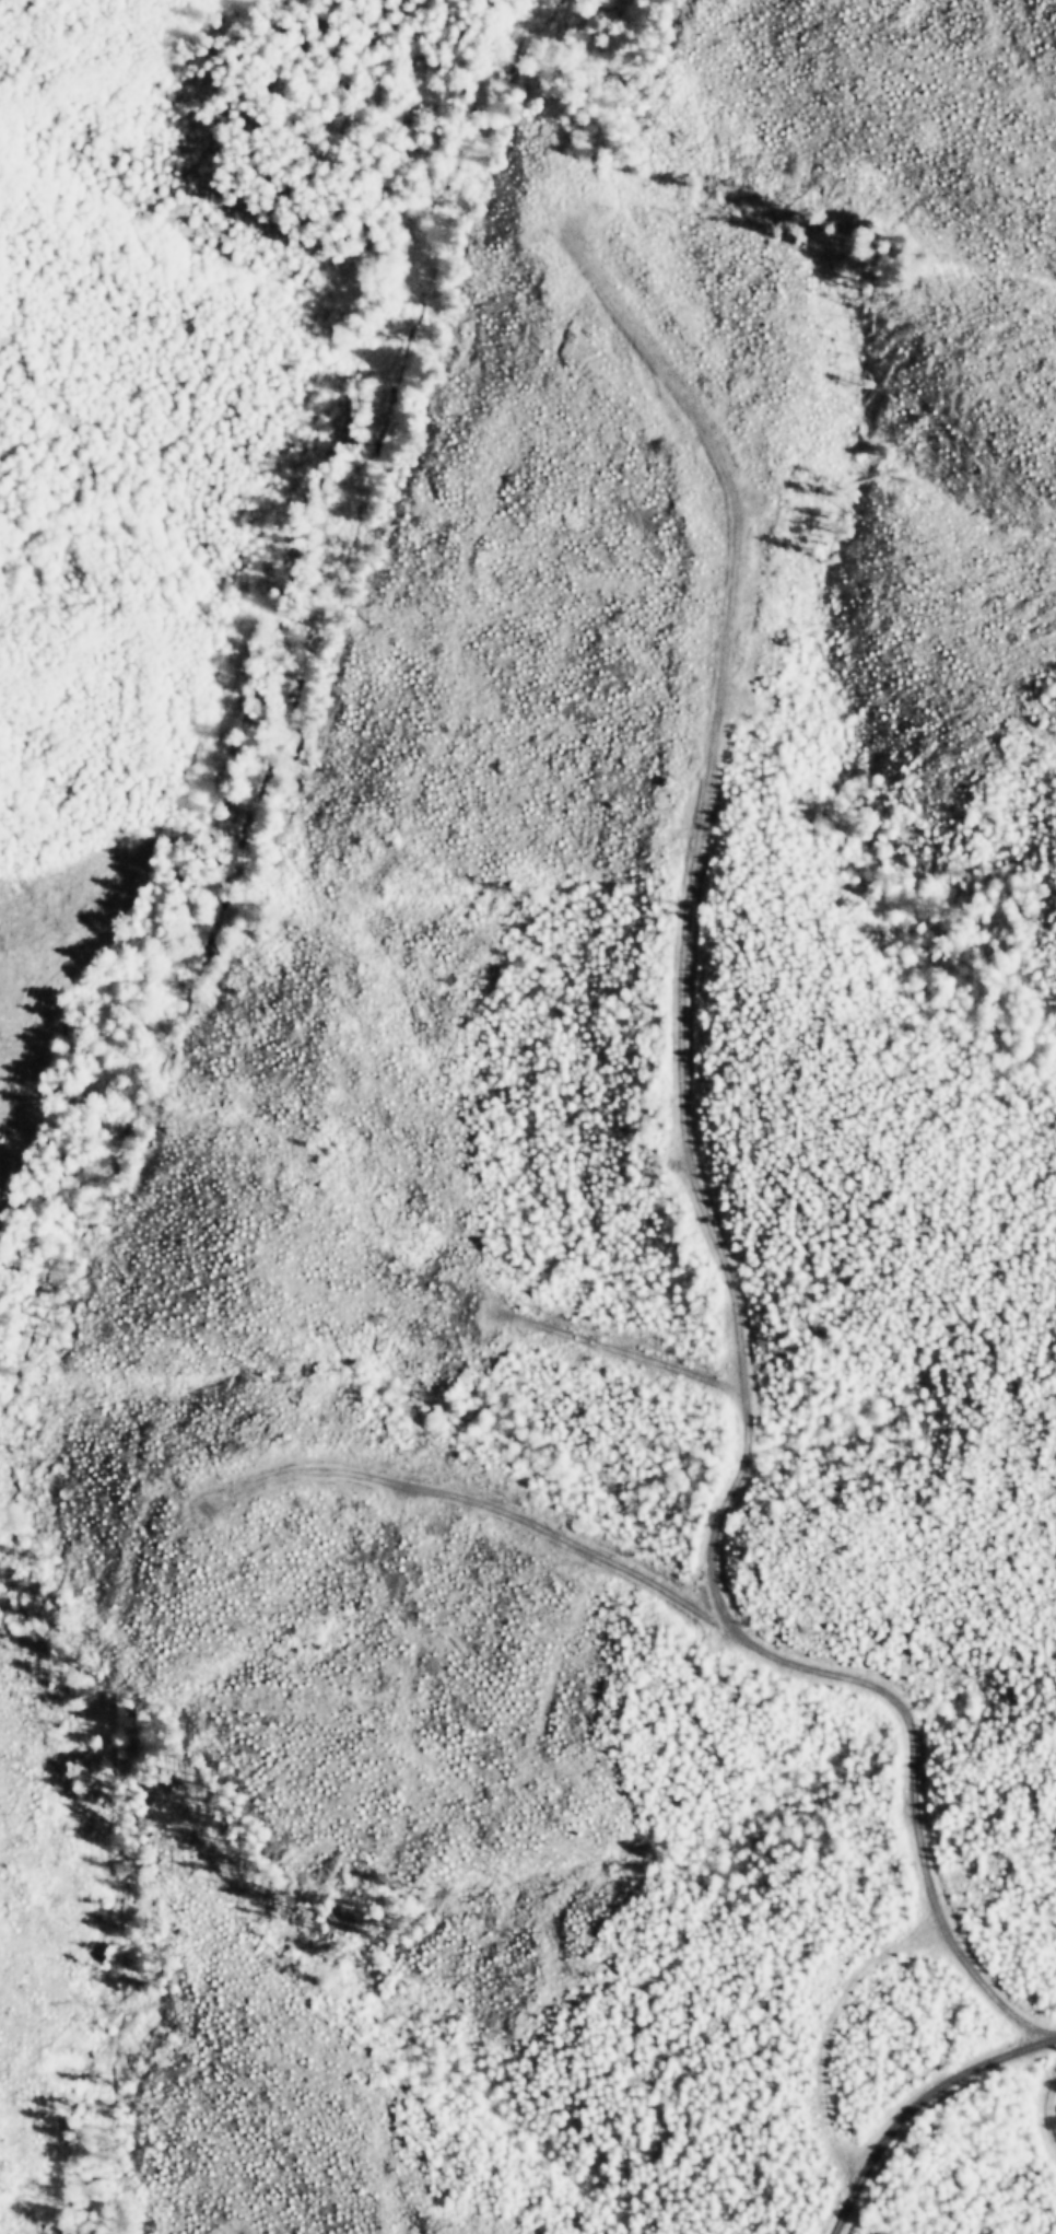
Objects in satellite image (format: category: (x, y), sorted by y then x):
road: (669, 1074)
road: (500, 1512)
road: (902, 1805)
road: (914, 2130)

